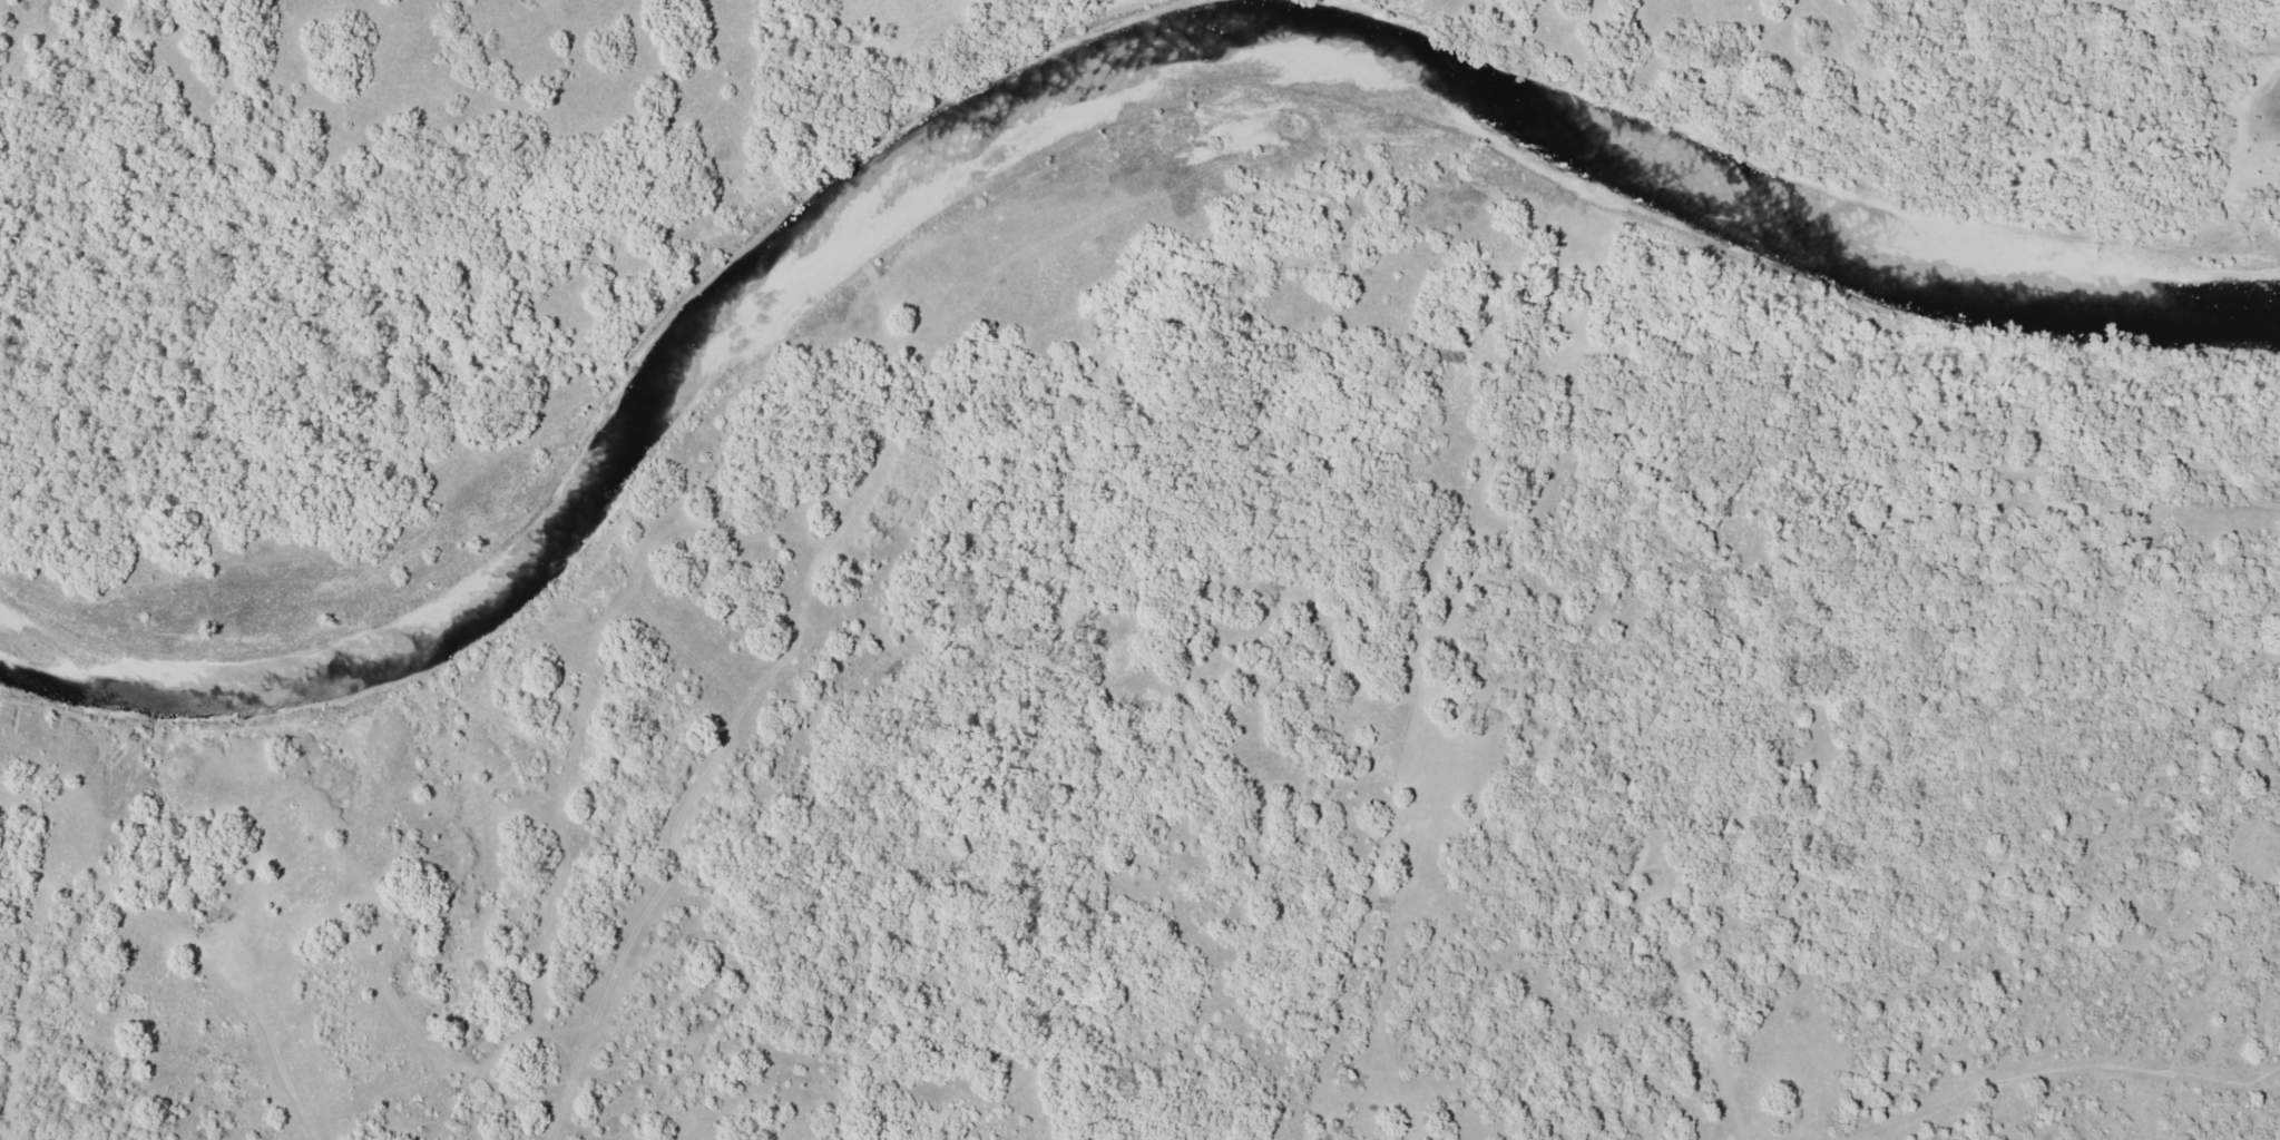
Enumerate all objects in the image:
road: (2184, 35)

